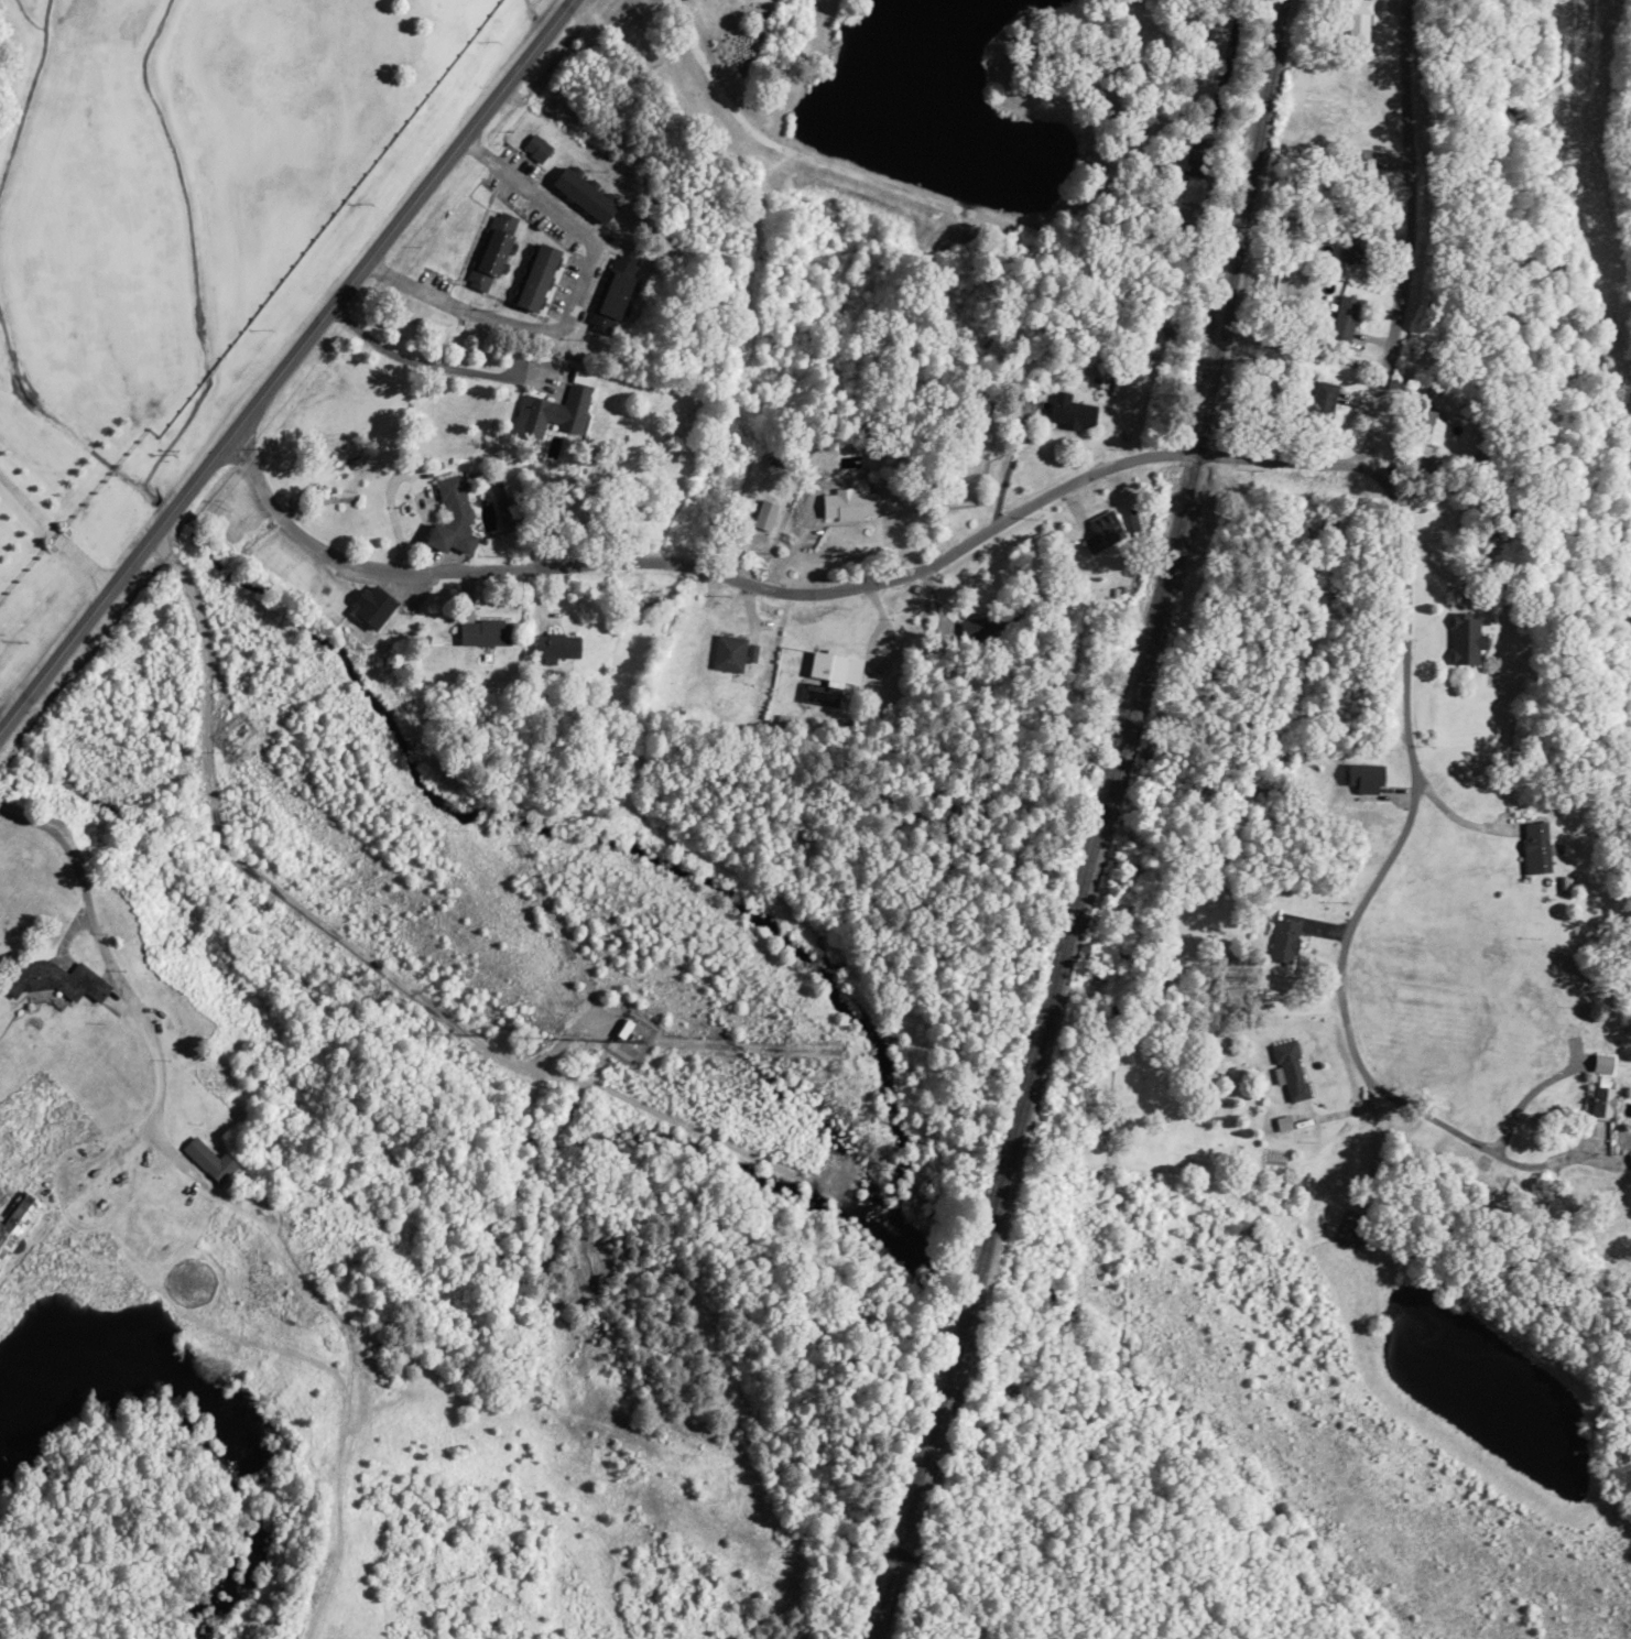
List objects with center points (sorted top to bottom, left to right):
building: (1357, 20)
building: (535, 148)
building: (1362, 169)
building: (581, 195)
building: (1351, 242)
road: (1398, 246)
building: (490, 251)
building: (535, 278)
building: (612, 294)
road: (515, 308)
building: (1342, 317)
road: (553, 321)
road: (563, 367)
road: (293, 380)
building: (552, 411)
building: (1069, 412)
building: (1425, 433)
building: (848, 502)
building: (507, 511)
building: (455, 513)
building: (1103, 529)
road: (202, 566)
road: (802, 588)
building: (369, 606)
road: (207, 608)
road: (268, 614)
road: (166, 622)
building: (979, 627)
building: (482, 632)
road: (113, 638)
building: (1464, 640)
building: (556, 647)
road: (177, 649)
building: (728, 653)
building: (834, 669)
road: (138, 720)
road: (118, 757)
building: (1362, 778)
railway: (1100, 825)
road: (1374, 836)
building: (1534, 848)
building: (1282, 942)
building: (54, 981)
building: (1290, 1071)
building: (1600, 1092)
building: (207, 1159)
building: (1629, 1159)
road: (117, 1160)
building: (14, 1218)

